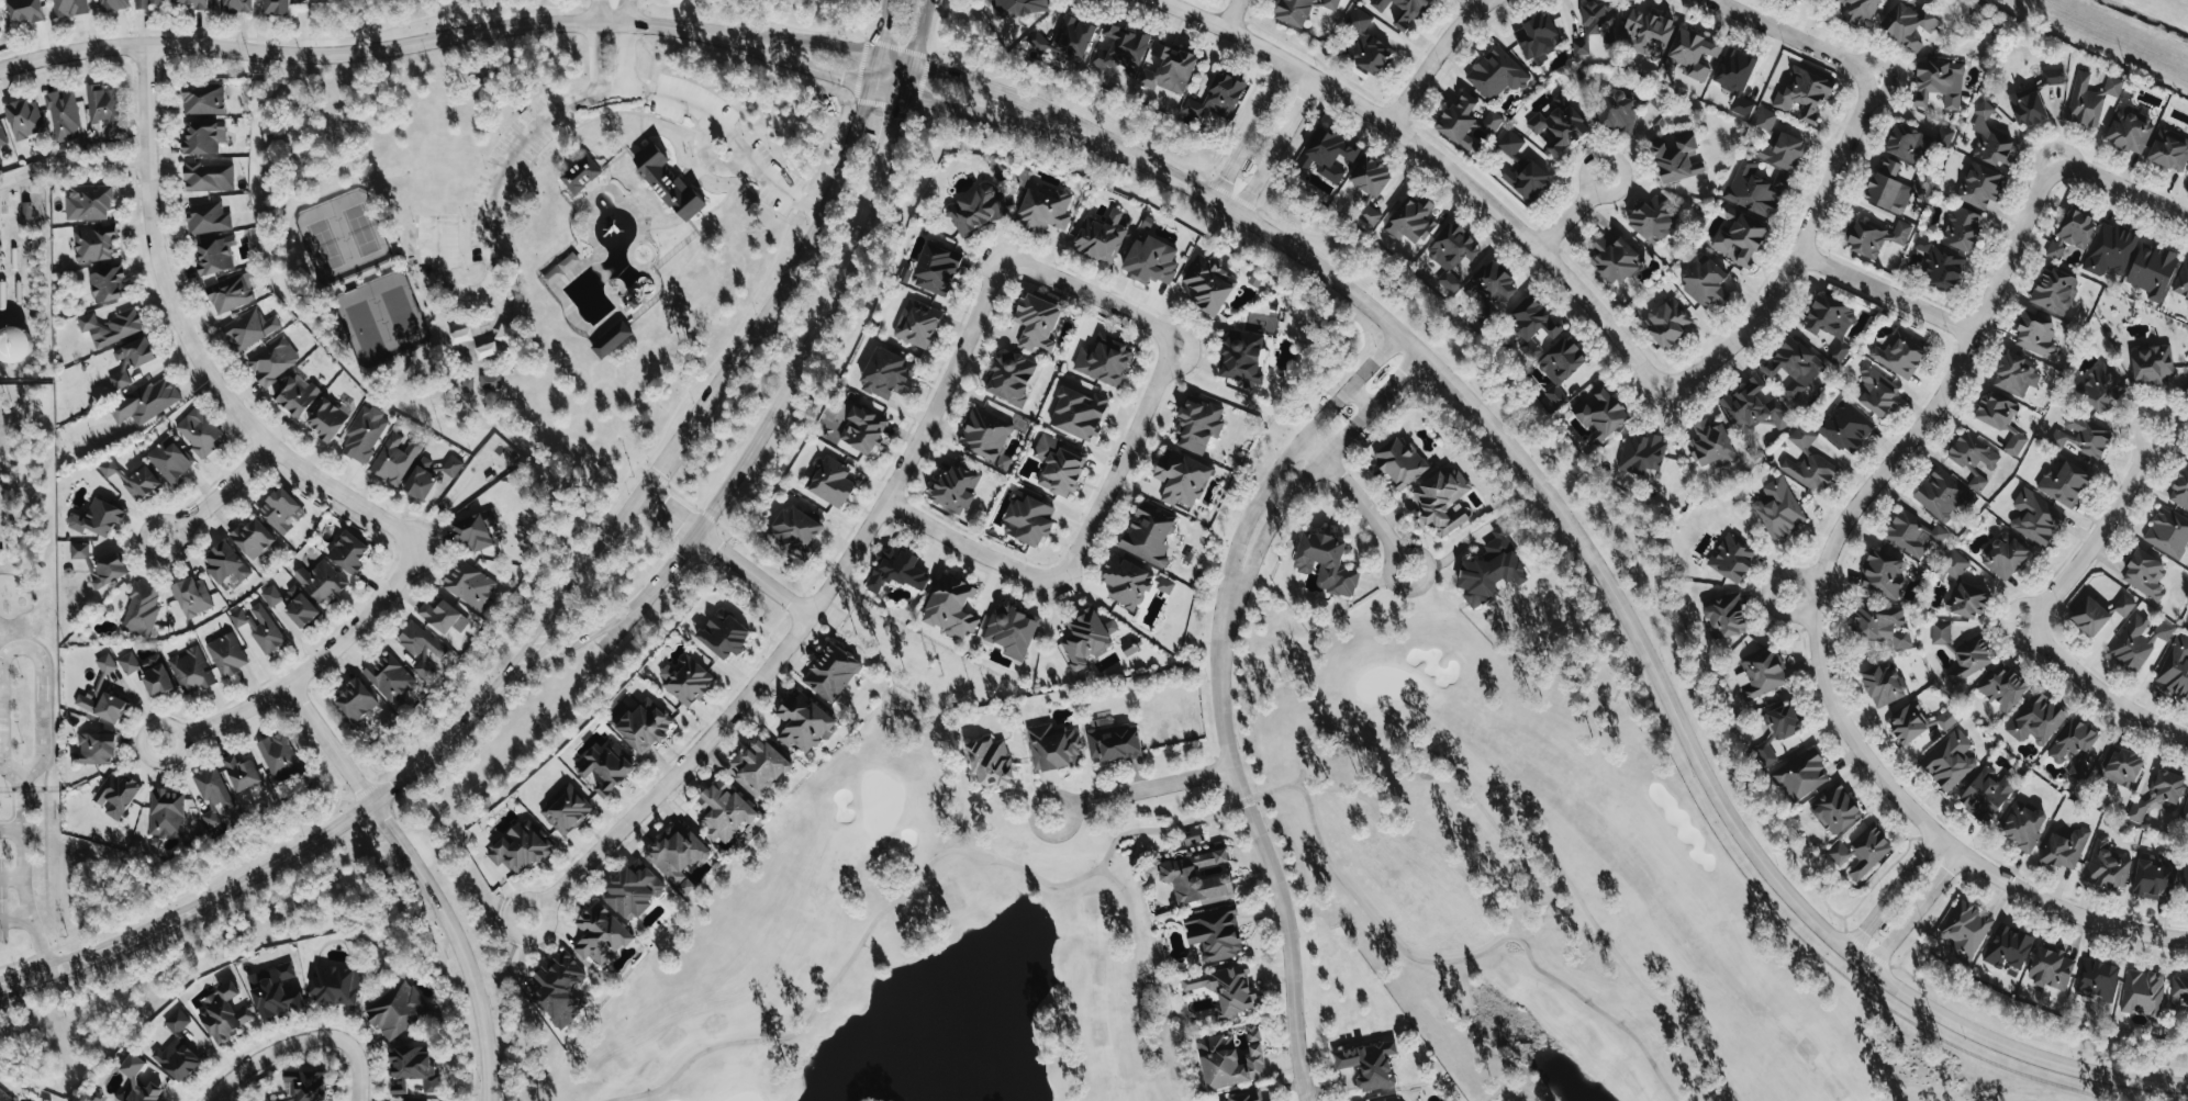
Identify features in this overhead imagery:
building: (147, 3)
building: (193, 3)
building: (110, 4)
building: (1328, 4)
building: (235, 5)
building: (277, 7)
building: (1019, 7)
building: (68, 8)
building: (24, 10)
building: (1402, 10)
road: (598, 11)
building: (1293, 11)
building: (1858, 11)
road: (628, 12)
road: (1231, 15)
building: (1594, 25)
building: (1908, 26)
road: (885, 29)
road: (918, 33)
building: (1646, 33)
building: (1072, 37)
building: (1537, 37)
road: (1791, 37)
building: (1037, 42)
road: (807, 43)
building: (1365, 44)
road: (367, 50)
building: (1120, 52)
building: (1693, 54)
road: (627, 56)
road: (598, 57)
road: (1435, 58)
road: (895, 61)
road: (801, 65)
road: (645, 68)
building: (1169, 69)
road: (874, 71)
building: (1496, 75)
building: (2052, 77)
building: (1735, 79)
road: (907, 80)
building: (1938, 83)
road: (886, 90)
road: (802, 93)
building: (1804, 94)
road: (1007, 96)
building: (1217, 98)
building: (2089, 99)
building: (203, 100)
building: (1659, 100)
building: (1561, 101)
parking lot: (688, 103)
building: (102, 104)
road: (638, 108)
building: (2027, 108)
road: (559, 110)
building: (1617, 113)
building: (63, 114)
building: (24, 119)
road: (1000, 120)
building: (1459, 121)
building: (1491, 123)
road: (895, 125)
building: (1559, 128)
road: (685, 131)
building: (2129, 133)
road: (1248, 134)
building: (2, 137)
building: (203, 137)
building: (1990, 139)
building: (1916, 143)
building: (1509, 144)
building: (1777, 144)
road: (1276, 150)
building: (2169, 150)
road: (557, 153)
building: (1327, 155)
road: (1433, 159)
building: (1677, 159)
road: (72, 168)
parking lot: (512, 173)
building: (580, 173)
road: (690, 175)
building: (2187, 176)
building: (208, 177)
parking lot: (770, 179)
building: (1527, 181)
building: (668, 182)
building: (1979, 186)
building: (1370, 188)
building: (1897, 188)
building: (1755, 190)
road: (2121, 192)
road: (721, 199)
building: (88, 203)
building: (1043, 209)
building: (975, 210)
building: (26, 211)
road: (511, 211)
road: (1572, 213)
building: (206, 217)
building: (1653, 218)
building: (1410, 221)
building: (1962, 229)
building: (2072, 234)
building: (1099, 237)
building: (1875, 237)
park: (535, 238)
building: (1739, 238)
park: (341, 239)
parking lot: (436, 243)
building: (94, 245)
road: (412, 245)
building: (1921, 245)
building: (2110, 249)
road: (1797, 252)
building: (1451, 254)
building: (213, 257)
building: (1615, 260)
road: (400, 261)
building: (1150, 261)
road: (793, 263)
building: (936, 269)
building: (1943, 269)
building: (2152, 271)
building: (2181, 281)
building: (1705, 283)
building: (108, 284)
building: (1208, 284)
building: (1491, 284)
building: (2053, 291)
road: (1884, 292)
building: (230, 294)
road: (443, 317)
park: (381, 321)
road: (501, 321)
road: (476, 323)
building: (1037, 323)
building: (1667, 323)
building: (917, 324)
building: (1532, 324)
building: (1830, 324)
building: (111, 326)
building: (249, 329)
building: (2035, 335)
building: (460, 336)
building: (611, 339)
road: (189, 344)
building: (14, 345)
building: (1899, 353)
building: (1242, 357)
building: (131, 360)
building: (1104, 360)
building: (272, 361)
road: (1373, 361)
building: (1560, 367)
building: (1794, 367)
building: (2152, 367)
road: (794, 372)
building: (888, 374)
building: (2014, 375)
building: (1009, 378)
building: (489, 381)
road: (1157, 381)
road: (1395, 381)
building: (467, 385)
building: (2185, 386)
building: (2100, 387)
building: (1876, 391)
road: (1940, 392)
building: (295, 394)
road: (1360, 397)
building: (145, 402)
road: (1659, 404)
building: (1754, 408)
building: (1079, 414)
building: (1599, 414)
building: (327, 419)
building: (2000, 419)
building: (1197, 424)
building: (1846, 427)
building: (862, 430)
building: (199, 434)
building: (364, 435)
building: (985, 436)
building: (2083, 437)
building: (1710, 445)
building: (1642, 453)
building: (395, 458)
building: (1972, 458)
building: (169, 460)
road: (665, 460)
building: (1808, 462)
building: (1400, 463)
building: (1059, 465)
building: (132, 479)
building: (1181, 479)
road: (1271, 480)
building: (830, 482)
building: (2064, 484)
building: (955, 488)
building: (2180, 490)
road: (219, 494)
road: (1292, 494)
building: (1941, 495)
road: (594, 496)
building: (1442, 501)
road: (1355, 503)
road: (634, 505)
building: (1778, 509)
building: (279, 510)
building: (98, 518)
building: (2035, 518)
building: (1027, 520)
building: (476, 530)
building: (796, 530)
building: (1149, 533)
building: (2167, 533)
building: (1912, 535)
building: (252, 538)
road: (971, 547)
building: (348, 552)
road: (727, 553)
building: (2005, 557)
building: (1731, 558)
building: (224, 563)
building: (1326, 563)
building: (1953, 564)
building: (100, 565)
building: (1491, 570)
building: (896, 571)
building: (2144, 574)
building: (1882, 575)
building: (321, 581)
building: (1126, 582)
building: (469, 585)
building: (1164, 585)
road: (1766, 591)
building: (192, 597)
building: (1967, 602)
building: (291, 604)
building: (950, 607)
building: (141, 609)
road: (555, 610)
road: (2034, 613)
building: (2099, 615)
building: (1726, 616)
building: (443, 617)
road: (807, 619)
building: (1880, 623)
building: (258, 627)
building: (1012, 630)
building: (1940, 633)
building: (724, 634)
building: (1086, 638)
road: (577, 641)
road: (1637, 641)
building: (2136, 641)
road: (21, 647)
building: (1129, 648)
building: (420, 649)
building: (226, 654)
building: (1969, 659)
building: (129, 663)
building: (105, 664)
road: (308, 669)
building: (2175, 669)
building: (191, 670)
building: (831, 672)
building: (1760, 674)
building: (155, 676)
building: (389, 677)
building: (685, 679)
building: (1883, 684)
building: (2002, 687)
building: (356, 700)
building: (101, 705)
building: (2035, 720)
building: (1918, 722)
building: (803, 723)
building: (644, 726)
building: (1777, 731)
road: (330, 742)
building: (1113, 743)
building: (2073, 743)
building: (1053, 748)
building: (96, 749)
building: (279, 757)
building: (1949, 761)
building: (990, 763)
building: (758, 767)
building: (605, 768)
building: (241, 772)
building: (1801, 776)
road: (1141, 789)
building: (1986, 794)
building: (114, 795)
building: (212, 795)
building: (2157, 795)
road: (353, 798)
road: (22, 806)
building: (566, 810)
building: (724, 811)
building: (1835, 811)
building: (2185, 811)
building: (166, 813)
building: (2022, 827)
building: (1191, 838)
road: (1941, 839)
road: (1262, 845)
building: (520, 847)
building: (2064, 849)
building: (1861, 852)
building: (678, 856)
building: (2107, 866)
road: (257, 872)
building: (1197, 877)
building: (2154, 877)
road: (11, 878)
building: (2185, 881)
park: (1548, 883)
park: (1548, 883)
road: (25, 890)
building: (633, 890)
road: (1891, 891)
road: (1916, 909)
road: (15, 920)
building: (1965, 930)
building: (1215, 933)
building: (600, 935)
road: (455, 941)
park: (907, 947)
park: (907, 947)
building: (2007, 947)
building: (2050, 968)
building: (2097, 980)
building: (334, 984)
building: (559, 989)
building: (1226, 990)
building: (273, 991)
building: (2142, 993)
building: (2179, 993)
building: (397, 1010)
building: (223, 1014)
building: (177, 1021)
road: (301, 1041)
building: (1230, 1059)
building: (177, 1060)
building: (1369, 1065)
building: (414, 1069)
building: (132, 1074)
building: (304, 1086)
building: (4, 1097)
building: (1243, 1097)
building: (1388, 1099)

